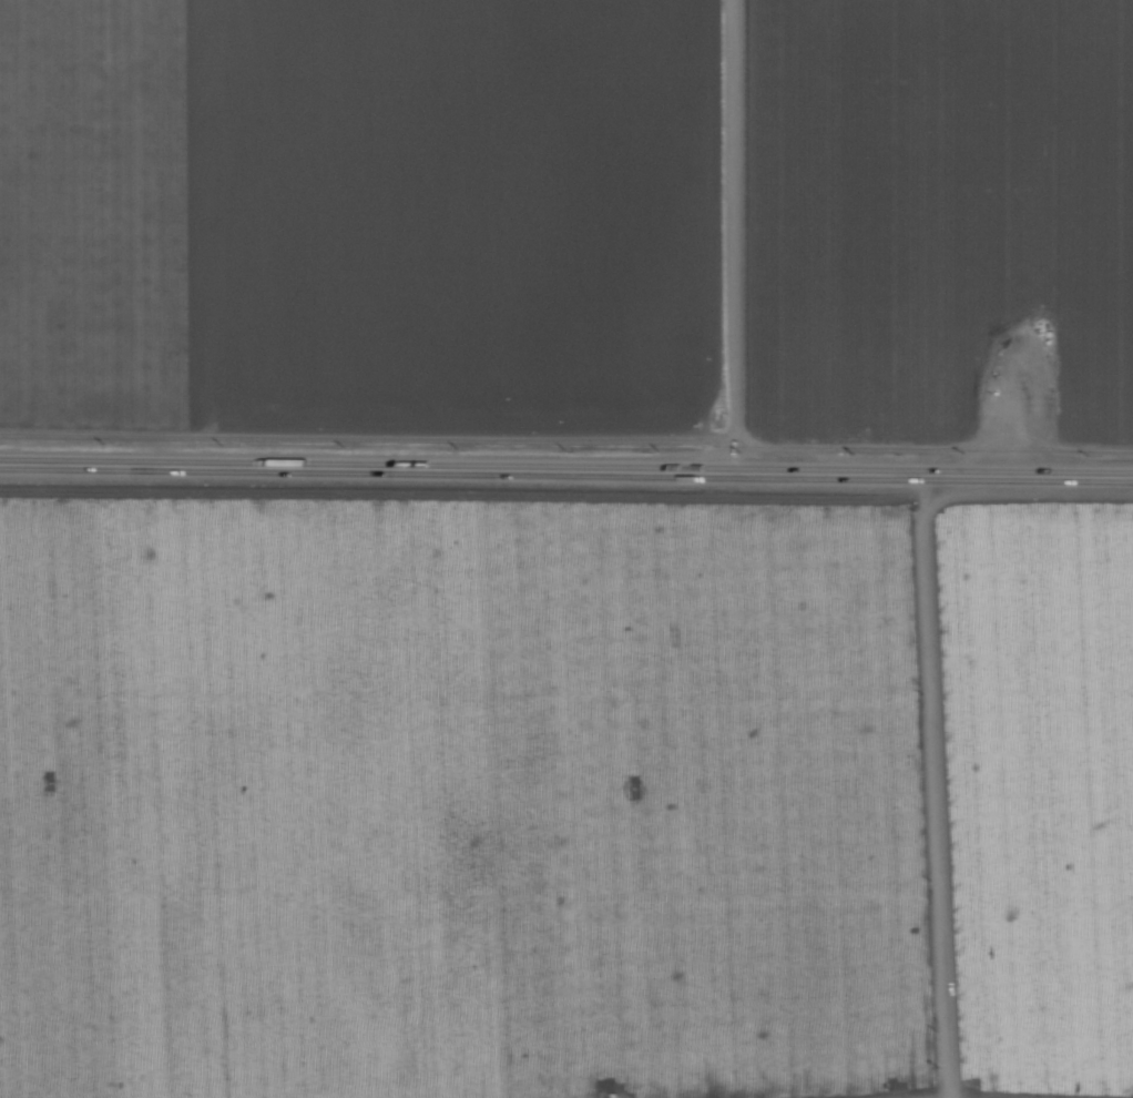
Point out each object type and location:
road: (565, 472)
crop: (565, 548)
road: (920, 786)

